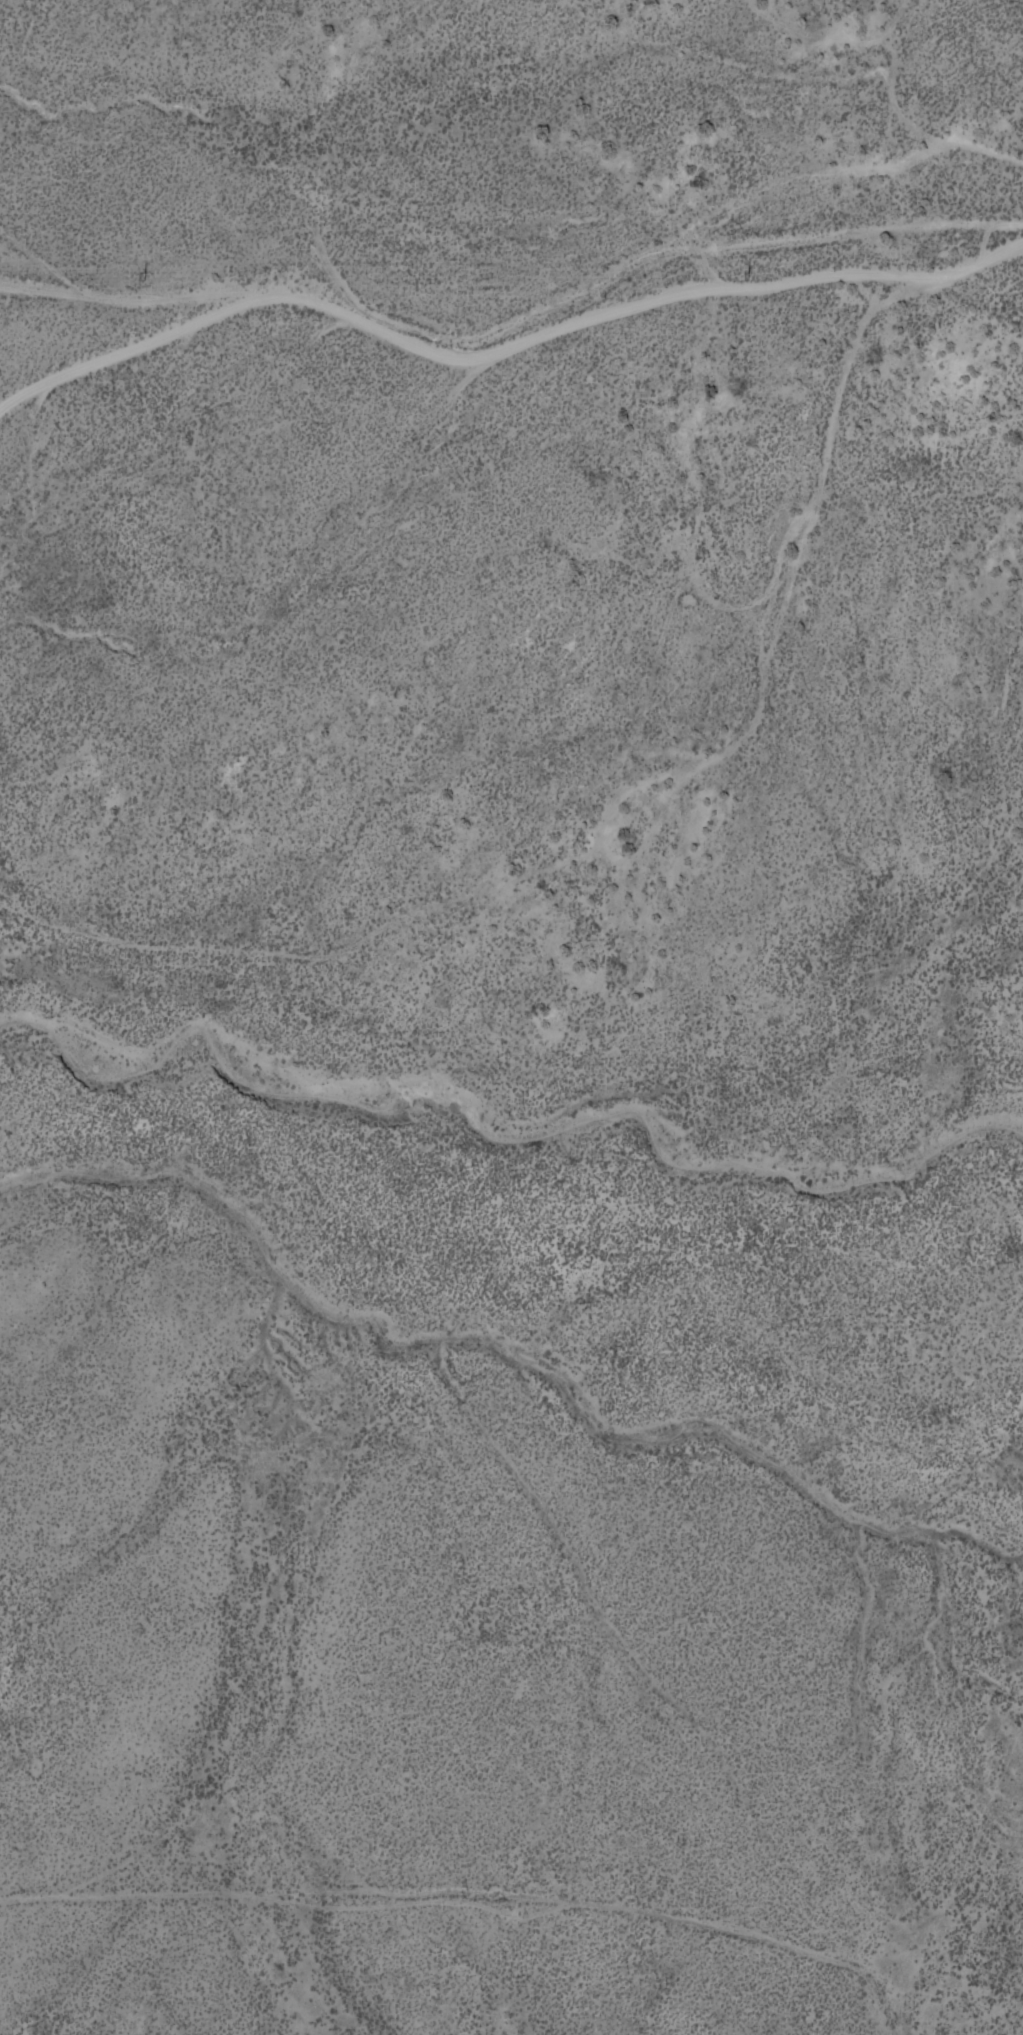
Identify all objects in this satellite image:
power tower: (142, 277)
power tower: (712, 285)
road: (131, 302)
road: (636, 304)
road: (129, 348)

